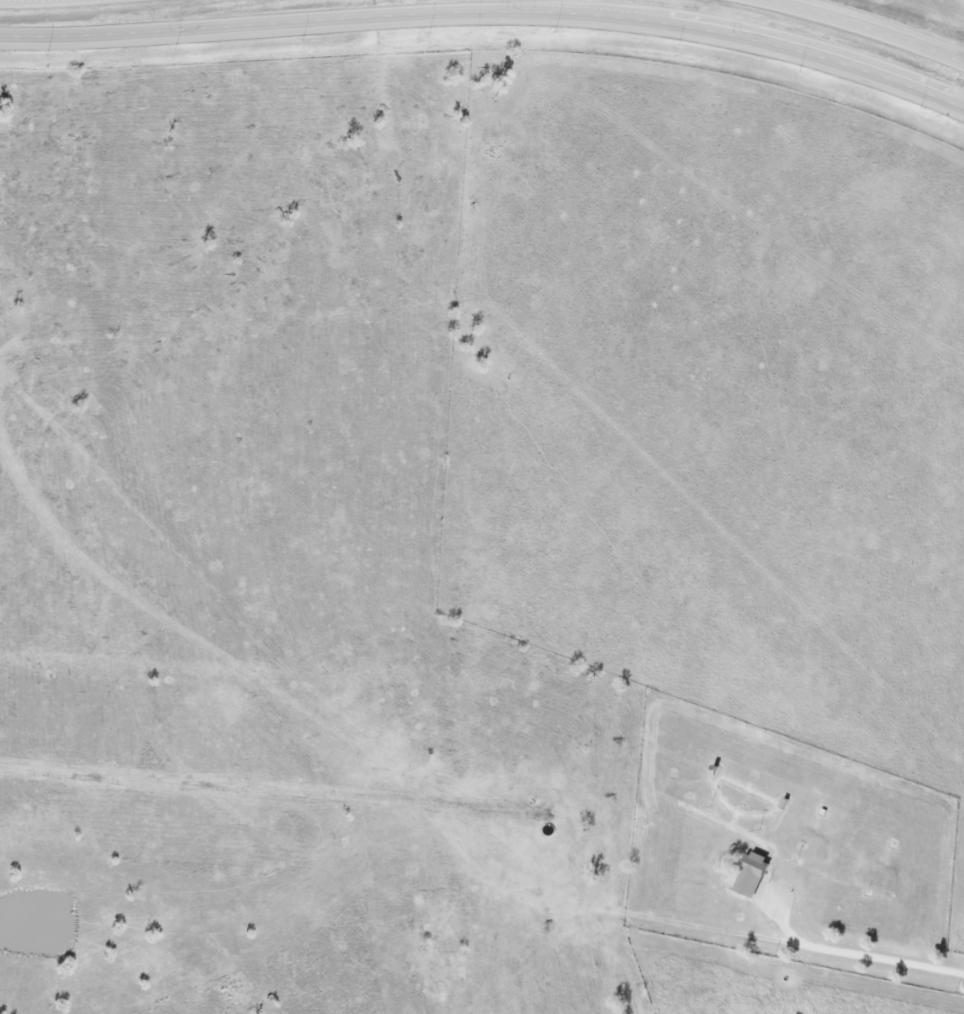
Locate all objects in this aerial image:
road: (488, 9)
road: (865, 28)
building: (750, 874)
road: (850, 951)

